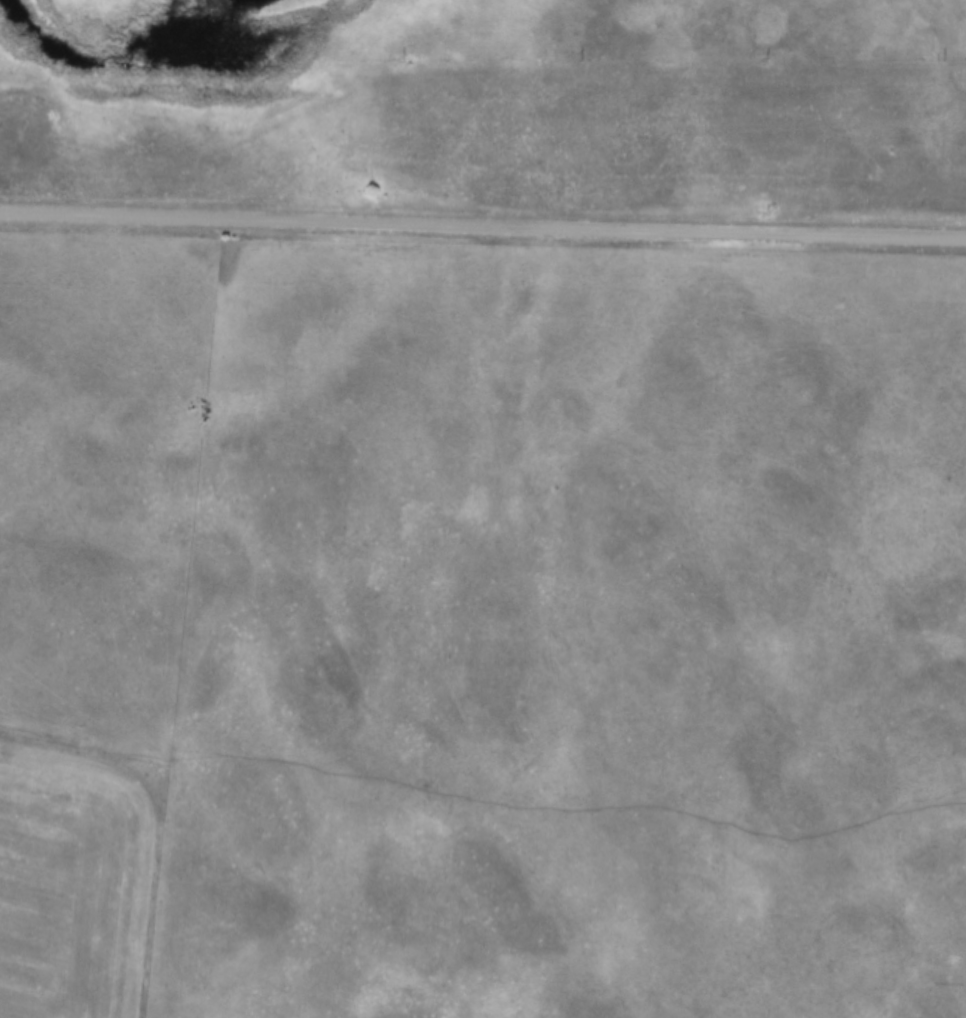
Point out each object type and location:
road: (482, 224)

